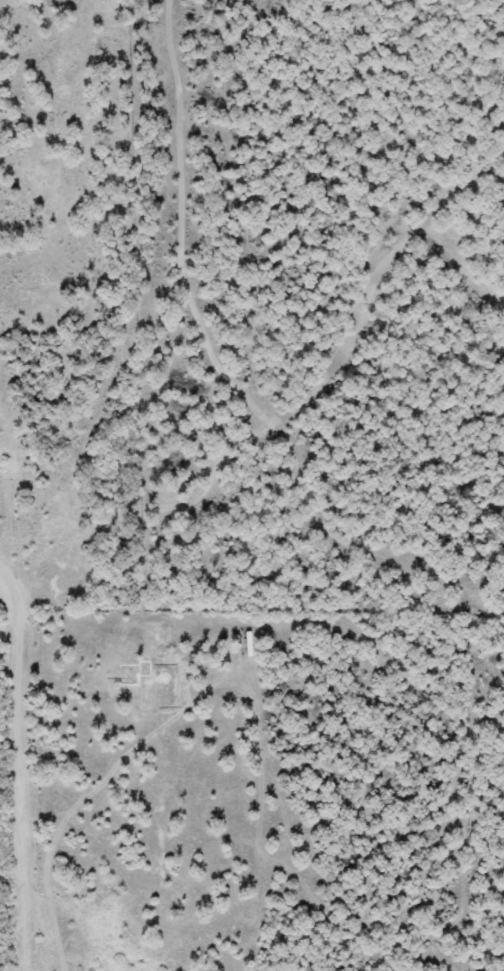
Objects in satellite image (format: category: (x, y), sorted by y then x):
road: (25, 757)

